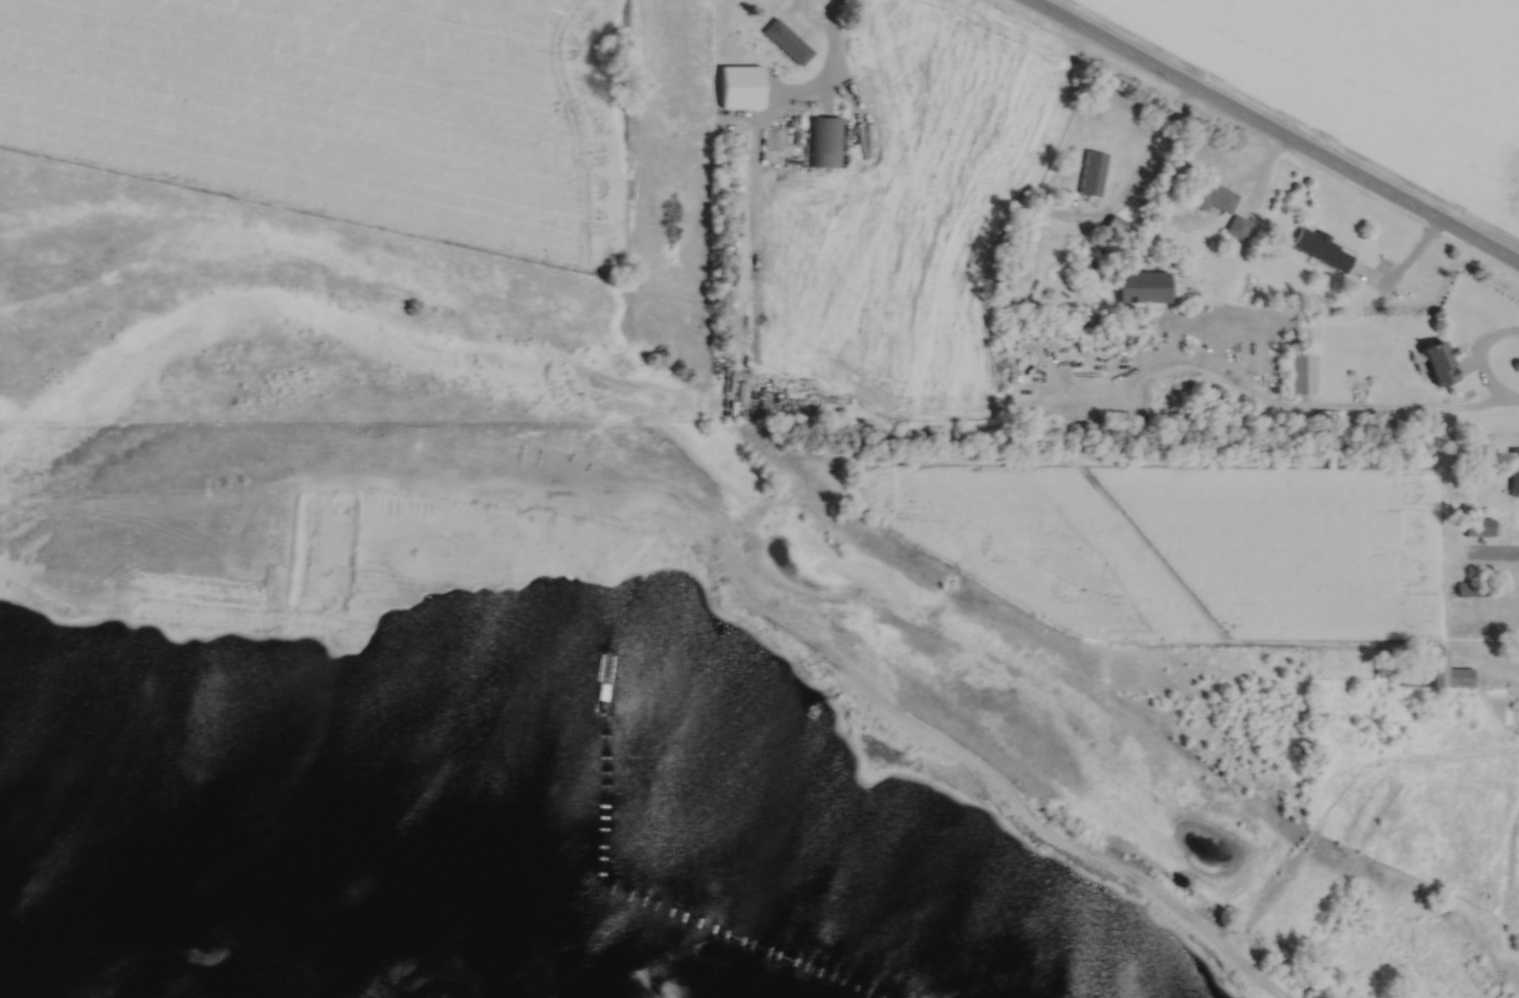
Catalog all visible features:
building: (788, 43)
building: (744, 88)
road: (1270, 132)
building: (823, 142)
road: (1150, 144)
building: (1093, 174)
building: (1215, 198)
building: (629, 203)
building: (1239, 228)
building: (1119, 231)
building: (1324, 250)
building: (1147, 289)
building: (1446, 365)
road: (1482, 365)
building: (1303, 375)
building: (1516, 473)
building: (1482, 529)
building: (1473, 590)
building: (1440, 674)

